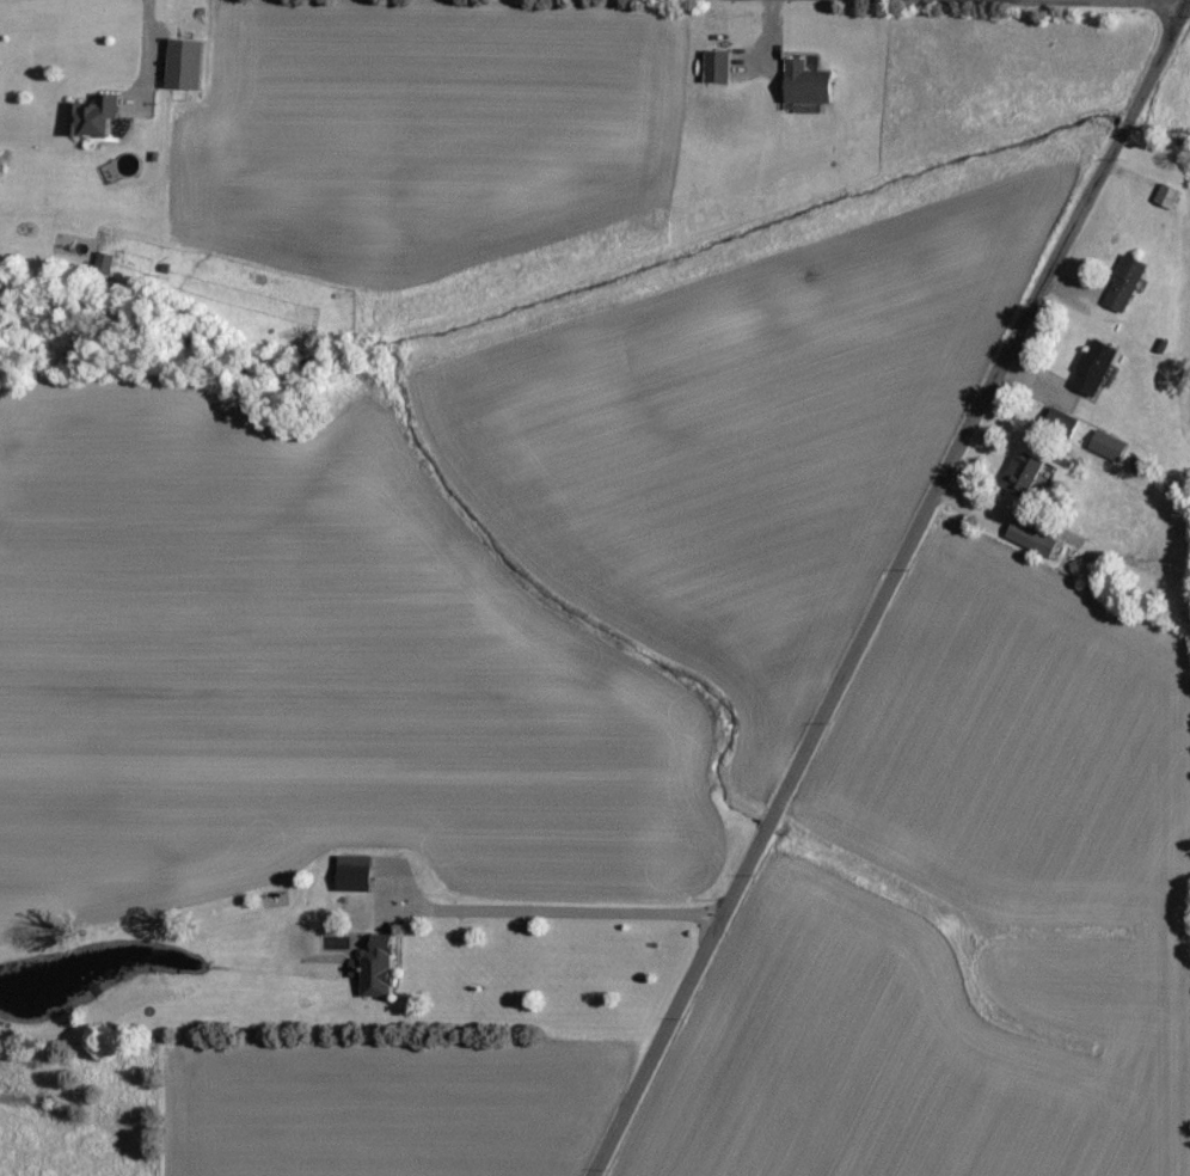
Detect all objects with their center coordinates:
road: (1047, 7)
road: (1189, 13)
building: (184, 65)
building: (717, 68)
road: (136, 74)
building: (808, 85)
building: (93, 118)
building: (102, 263)
building: (1124, 284)
building: (1094, 368)
building: (1108, 447)
building: (1023, 476)
building: (1031, 540)
road: (884, 588)
building: (352, 875)
road: (550, 907)
building: (352, 969)

